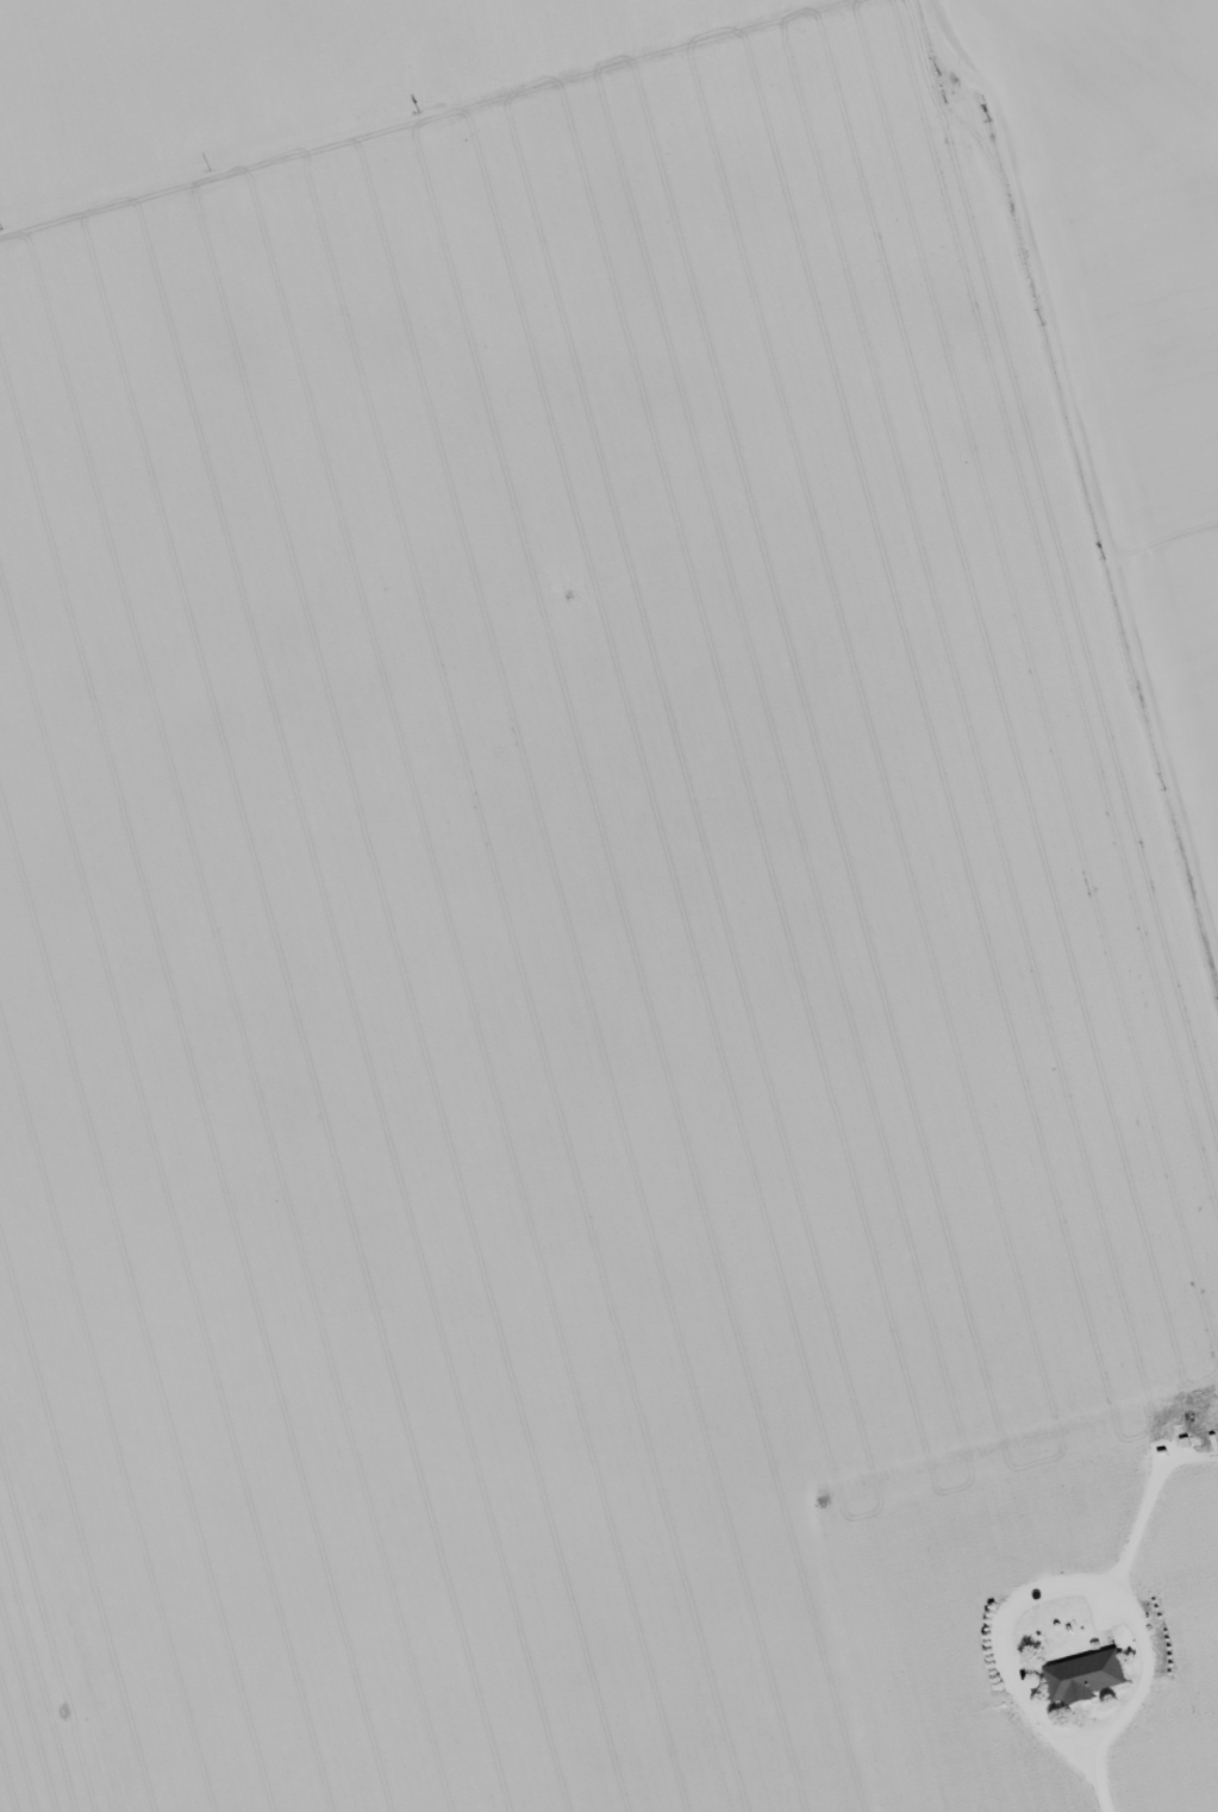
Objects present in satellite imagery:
road: (570, 285)
road: (1086, 462)
road: (624, 971)
road: (1058, 1583)
road: (56, 1661)
building: (1081, 1673)
road: (1098, 1783)

